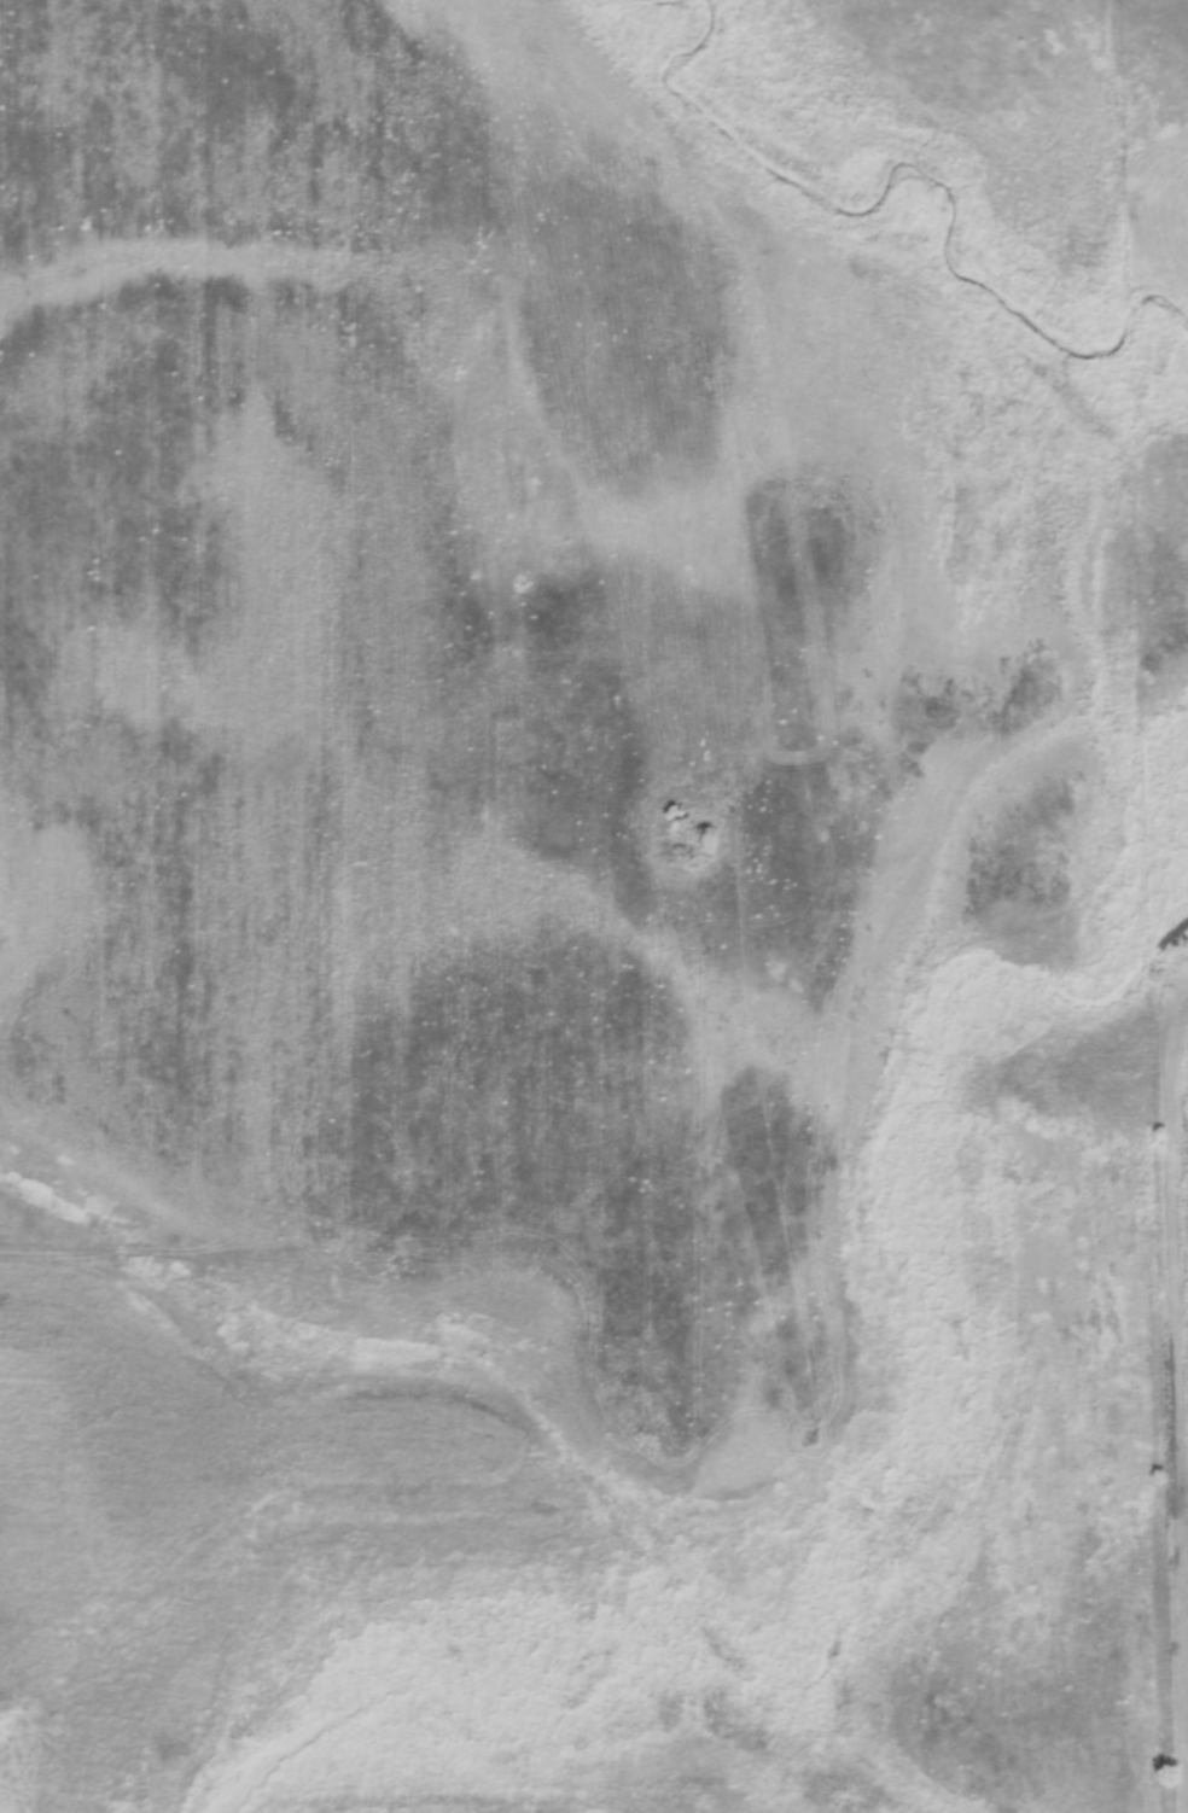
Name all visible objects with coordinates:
road: (359, 1279)

